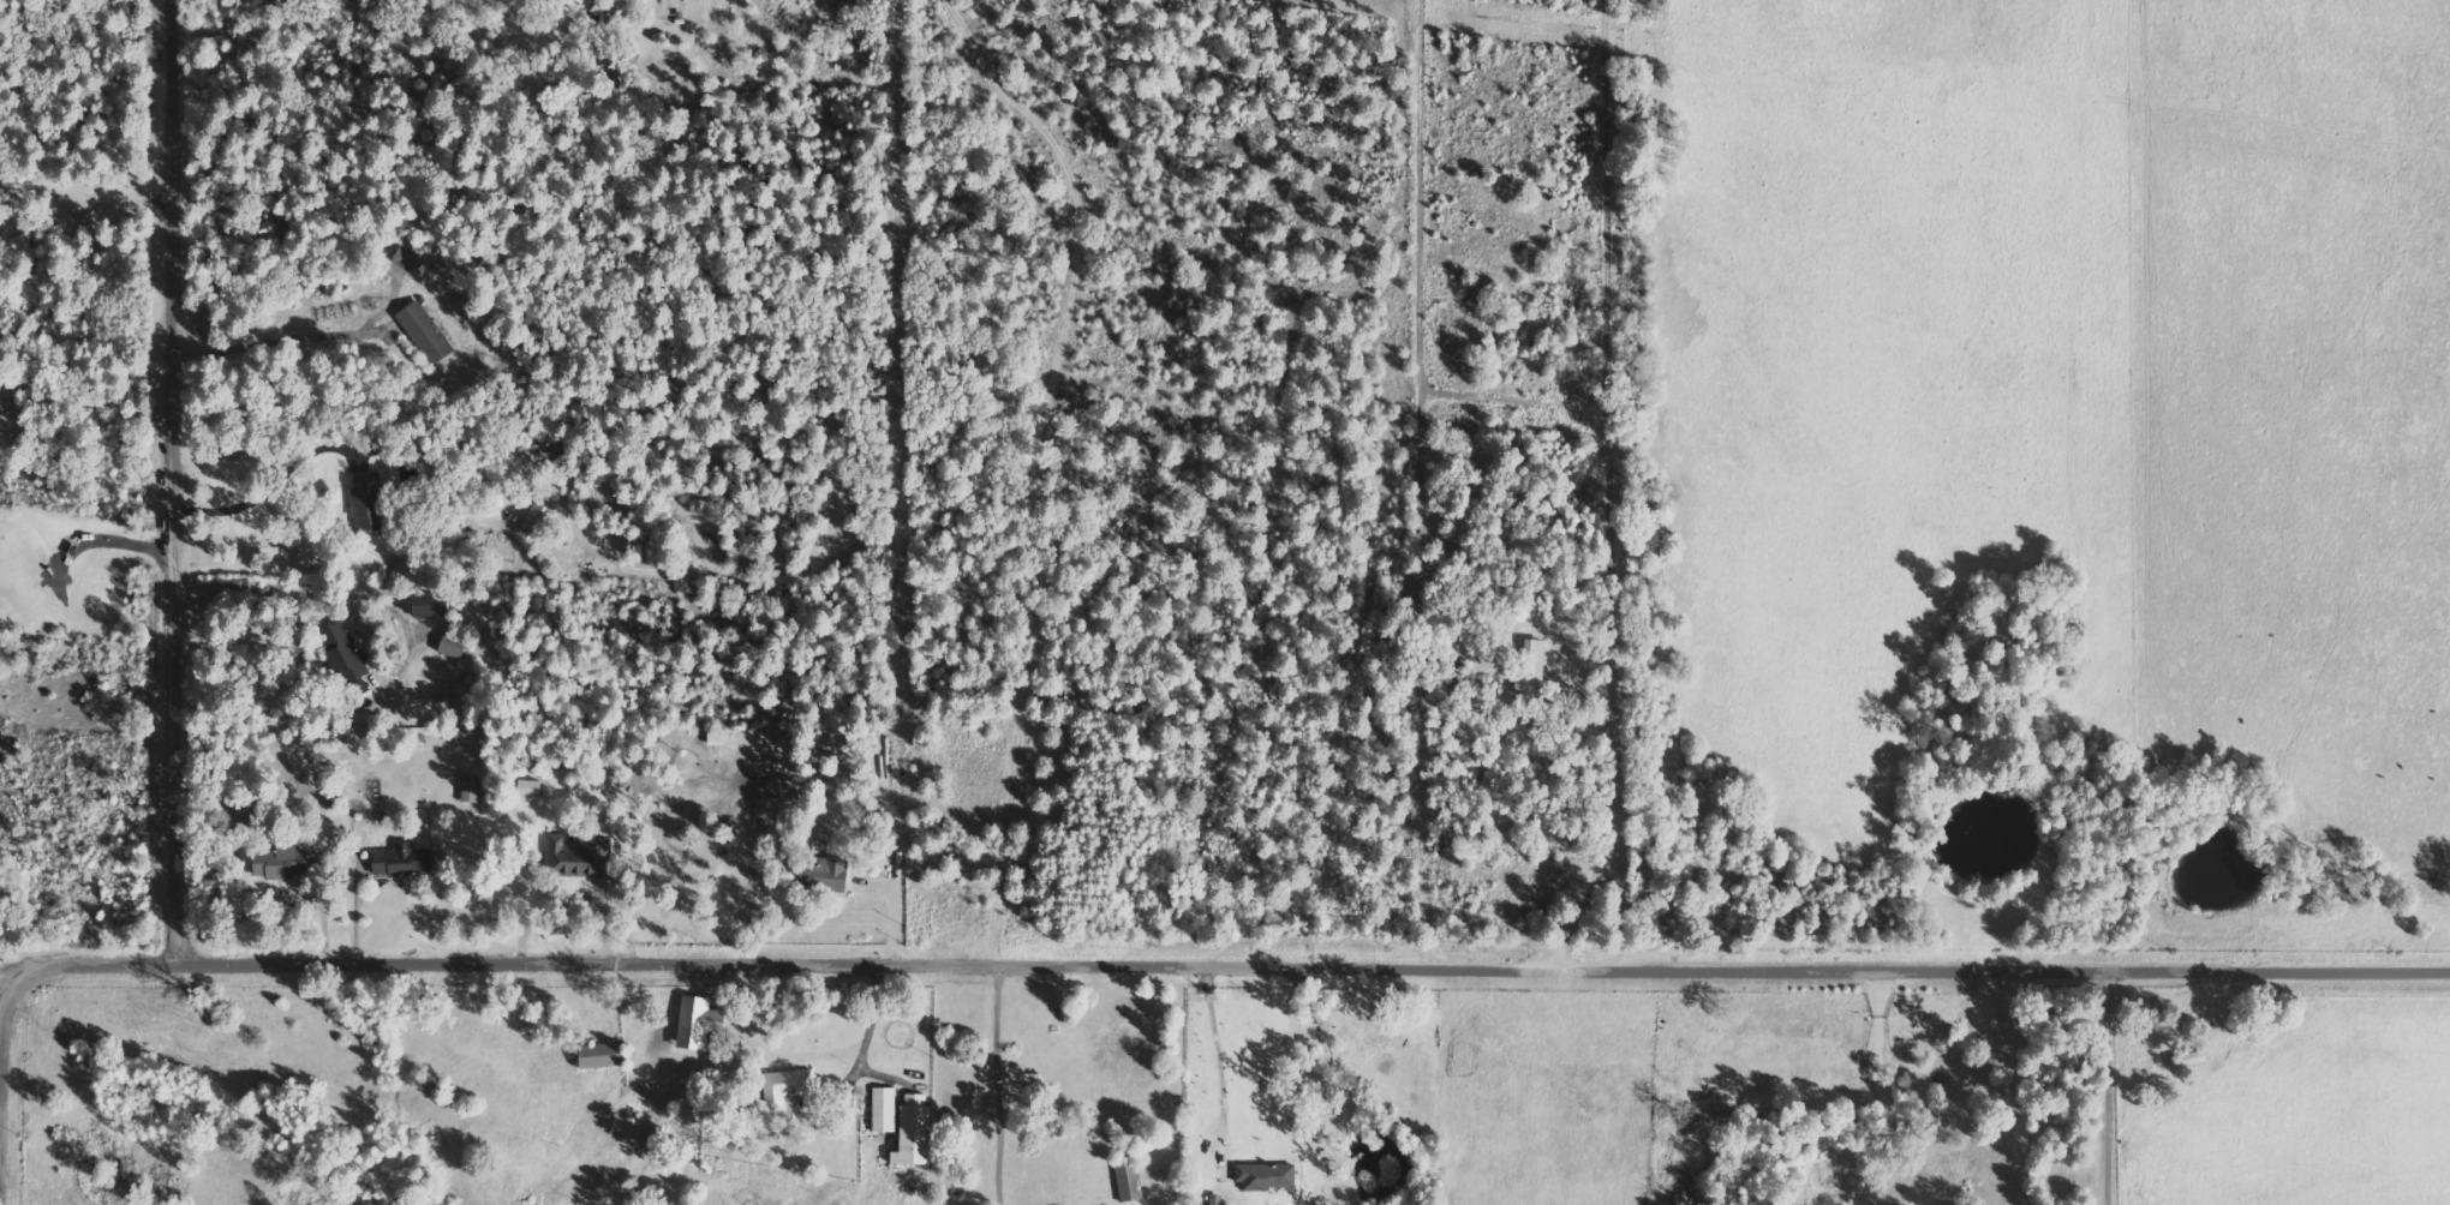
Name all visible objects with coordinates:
building: (600, 6)
road: (89, 134)
building: (405, 257)
building: (428, 332)
road: (178, 482)
building: (367, 500)
building: (423, 605)
building: (447, 647)
building: (1528, 666)
building: (449, 696)
building: (467, 787)
building: (525, 791)
building: (574, 855)
building: (398, 861)
building: (281, 862)
building: (820, 874)
road: (1122, 966)
building: (693, 1023)
building: (596, 1055)
road: (993, 1085)
building: (782, 1087)
building: (880, 1109)
building: (908, 1131)
building: (1262, 1176)

